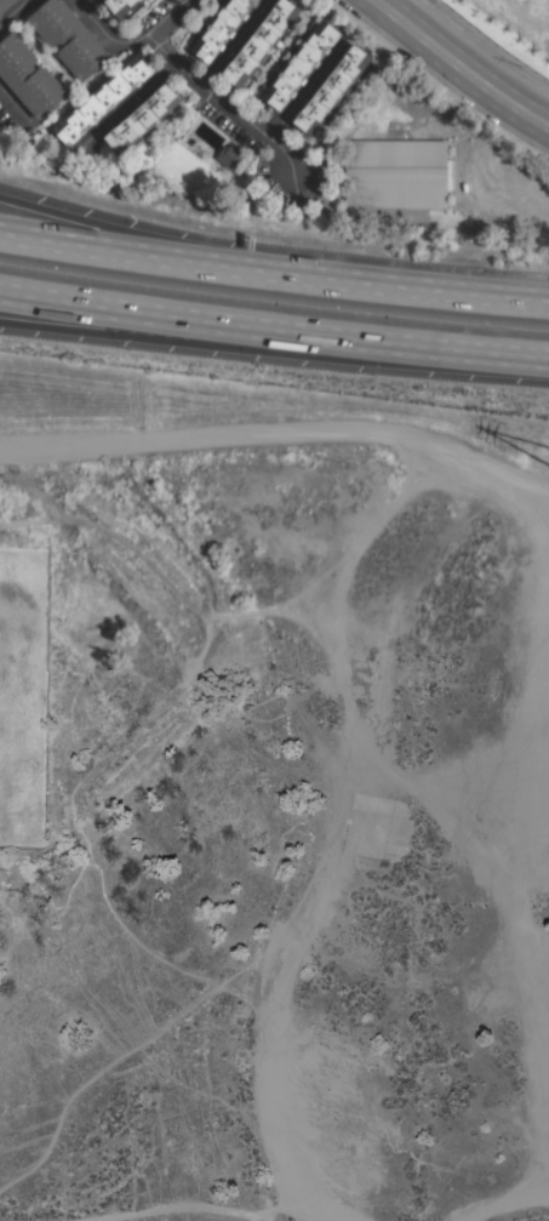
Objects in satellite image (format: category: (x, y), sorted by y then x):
building: (5, 4)
road: (84, 5)
building: (122, 7)
road: (13, 11)
building: (53, 21)
road: (176, 22)
building: (218, 29)
road: (104, 40)
road: (234, 40)
building: (259, 41)
building: (82, 52)
building: (15, 59)
building: (299, 64)
road: (459, 65)
road: (304, 87)
building: (331, 89)
building: (40, 91)
building: (105, 97)
road: (131, 101)
road: (233, 102)
road: (68, 104)
building: (142, 118)
building: (228, 155)
building: (395, 173)
road: (119, 230)
road: (119, 250)
road: (393, 286)
road: (273, 331)
road: (274, 340)
road: (281, 428)
park: (23, 691)
road: (172, 1206)

